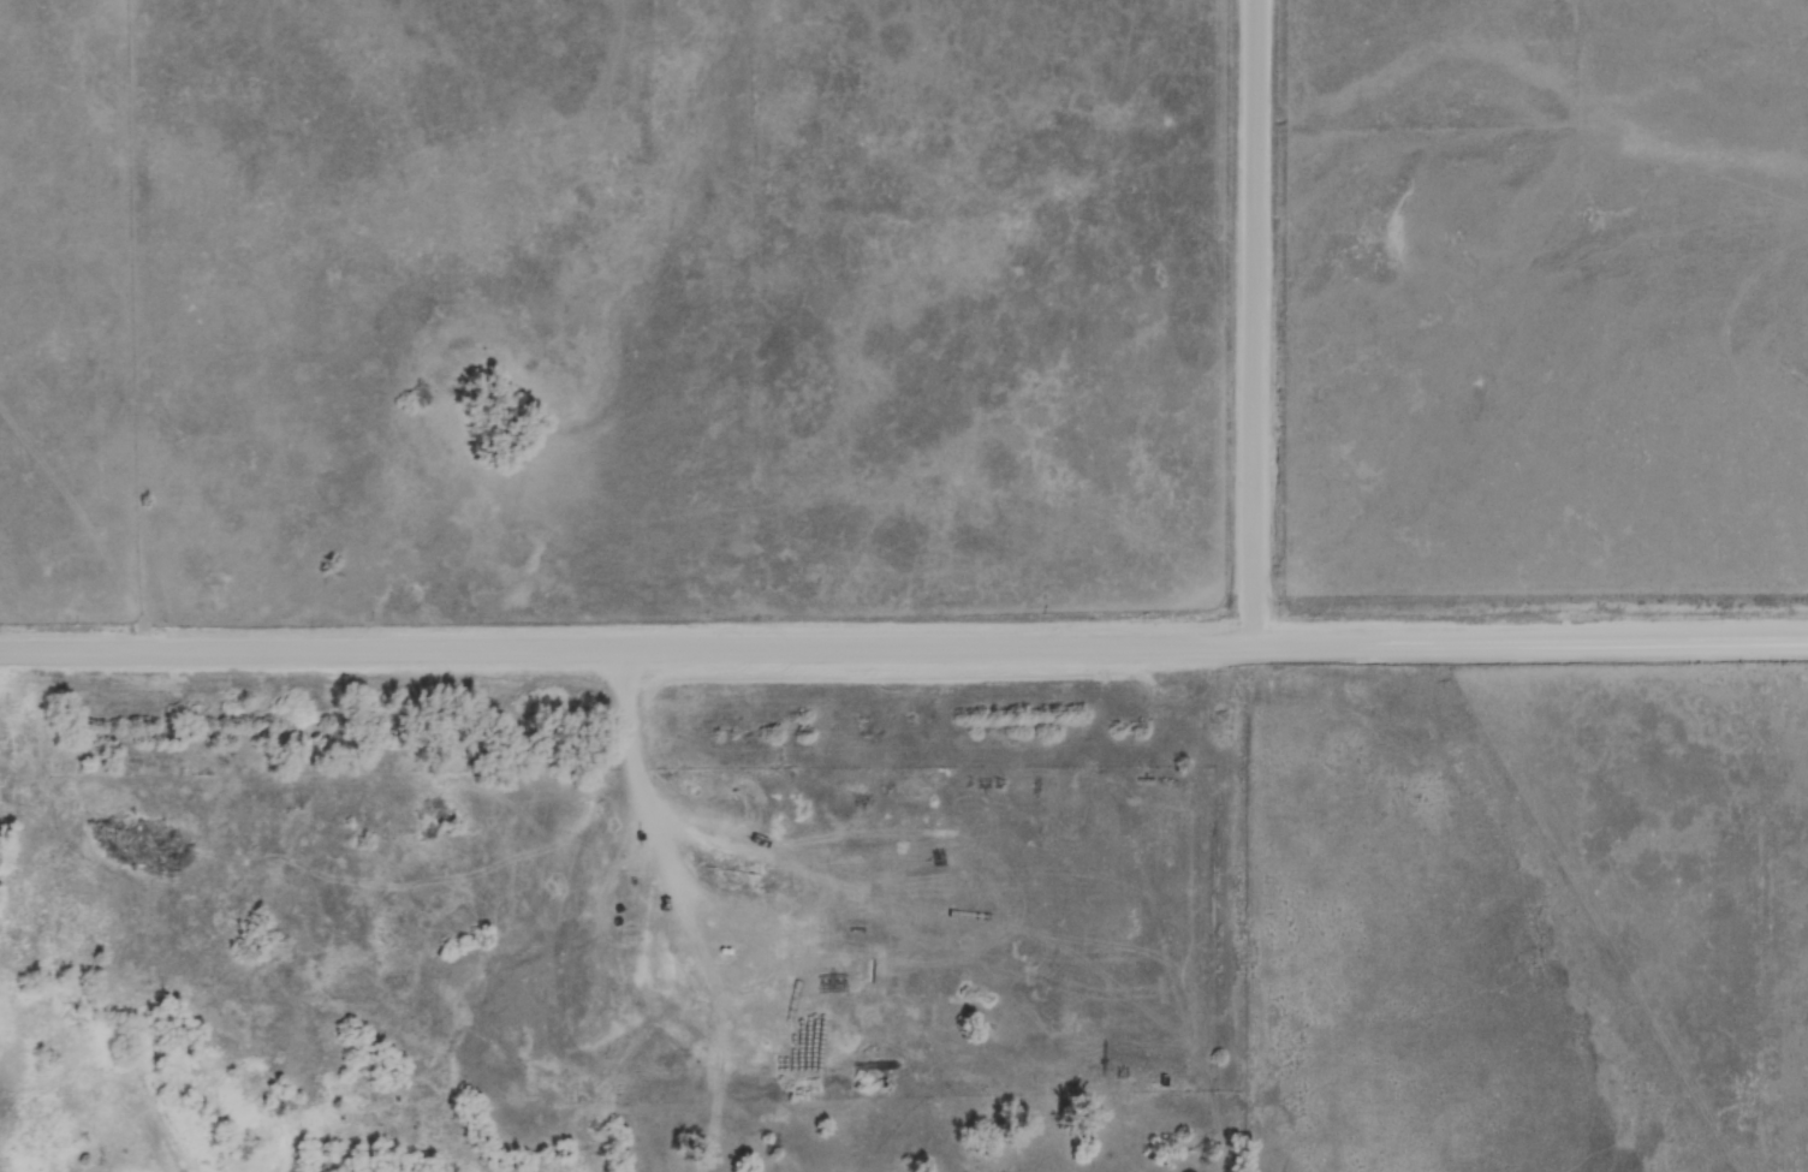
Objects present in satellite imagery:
road: (1259, 322)
road: (904, 647)

